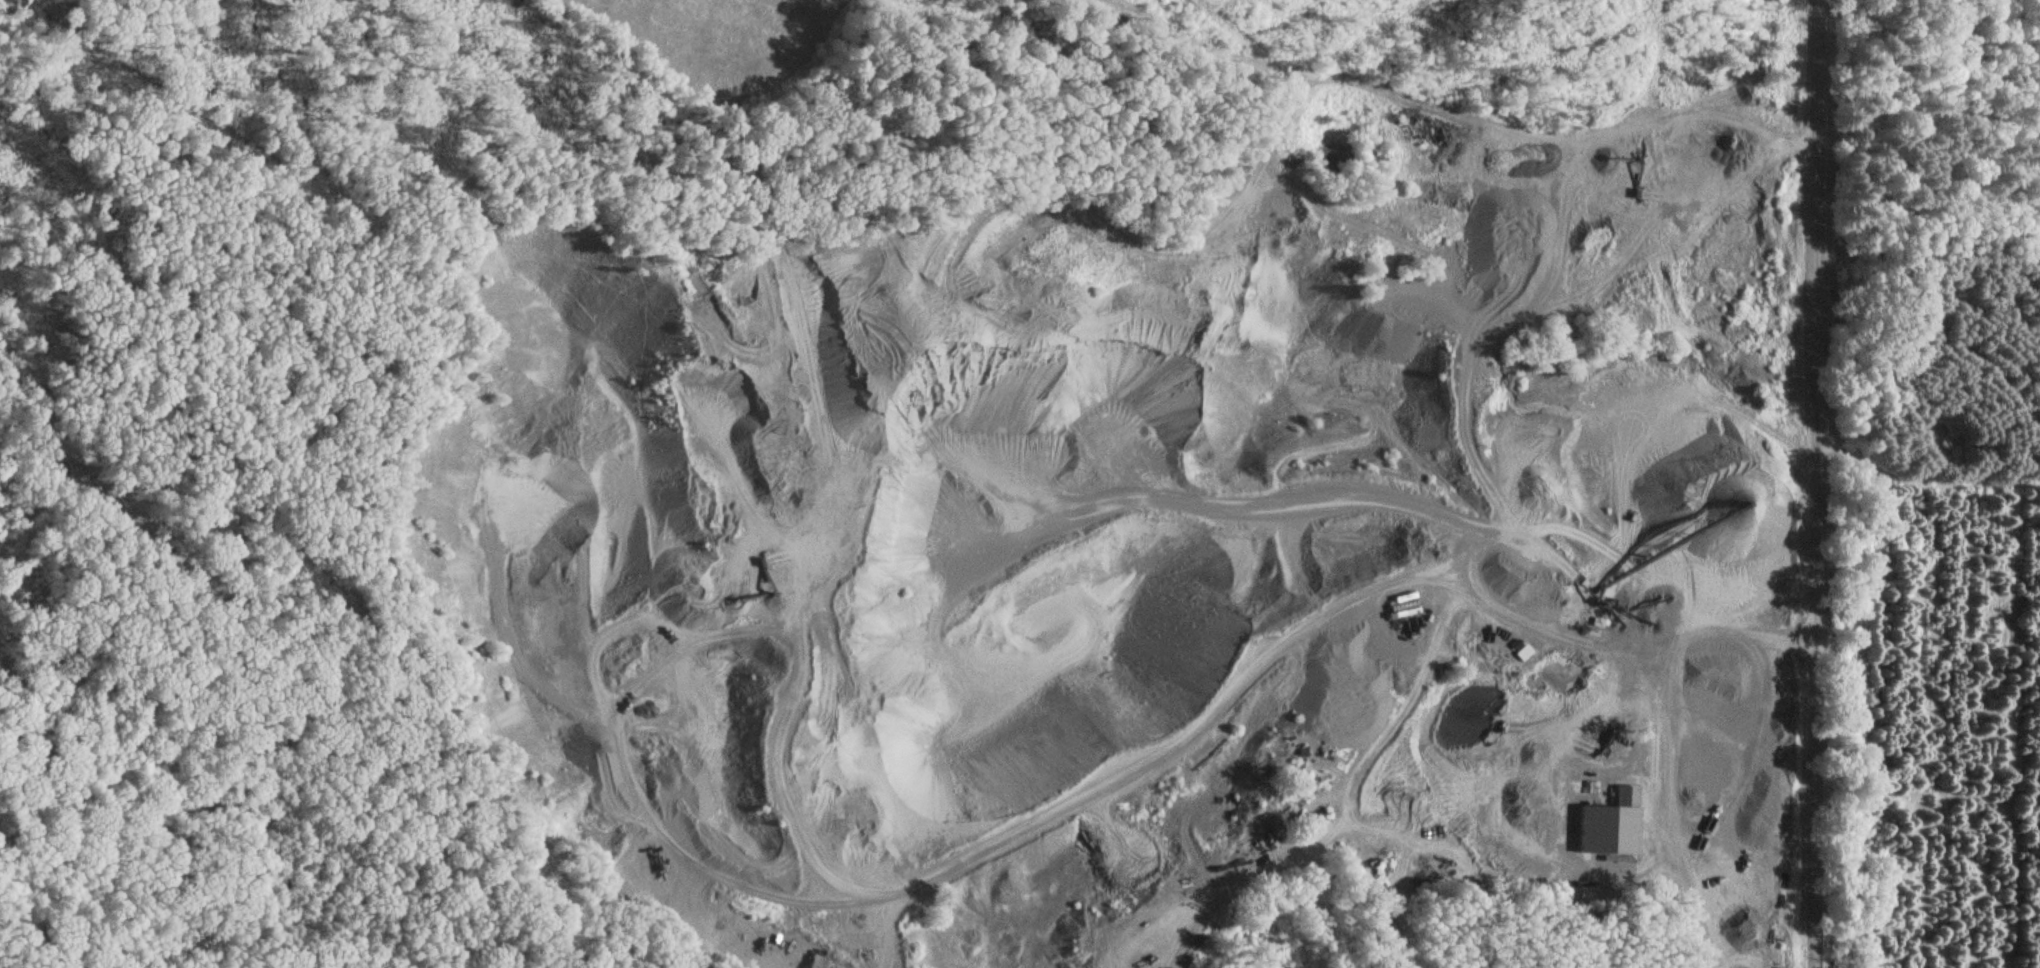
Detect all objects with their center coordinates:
road: (1819, 483)
quarry: (1160, 520)
building: (1602, 622)
road: (1227, 688)
road: (845, 695)
road: (1474, 804)
building: (1607, 816)

